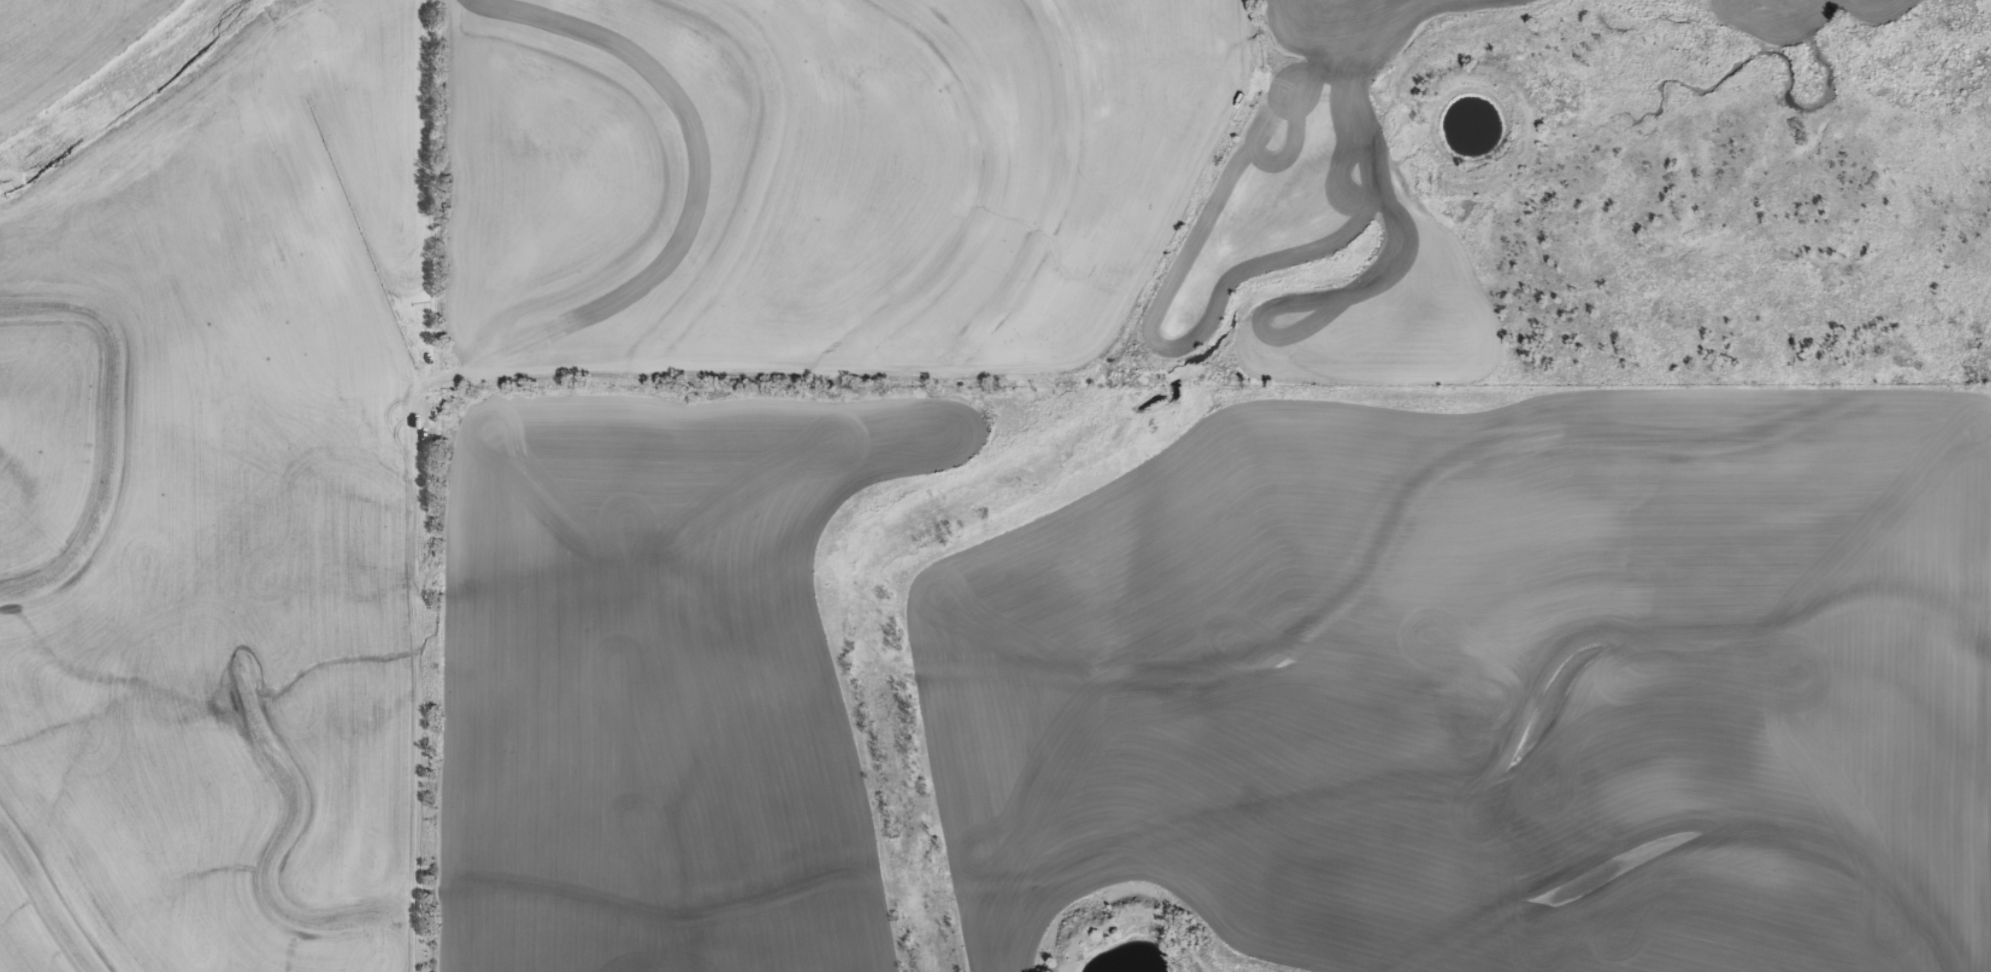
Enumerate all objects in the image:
road: (730, 384)

